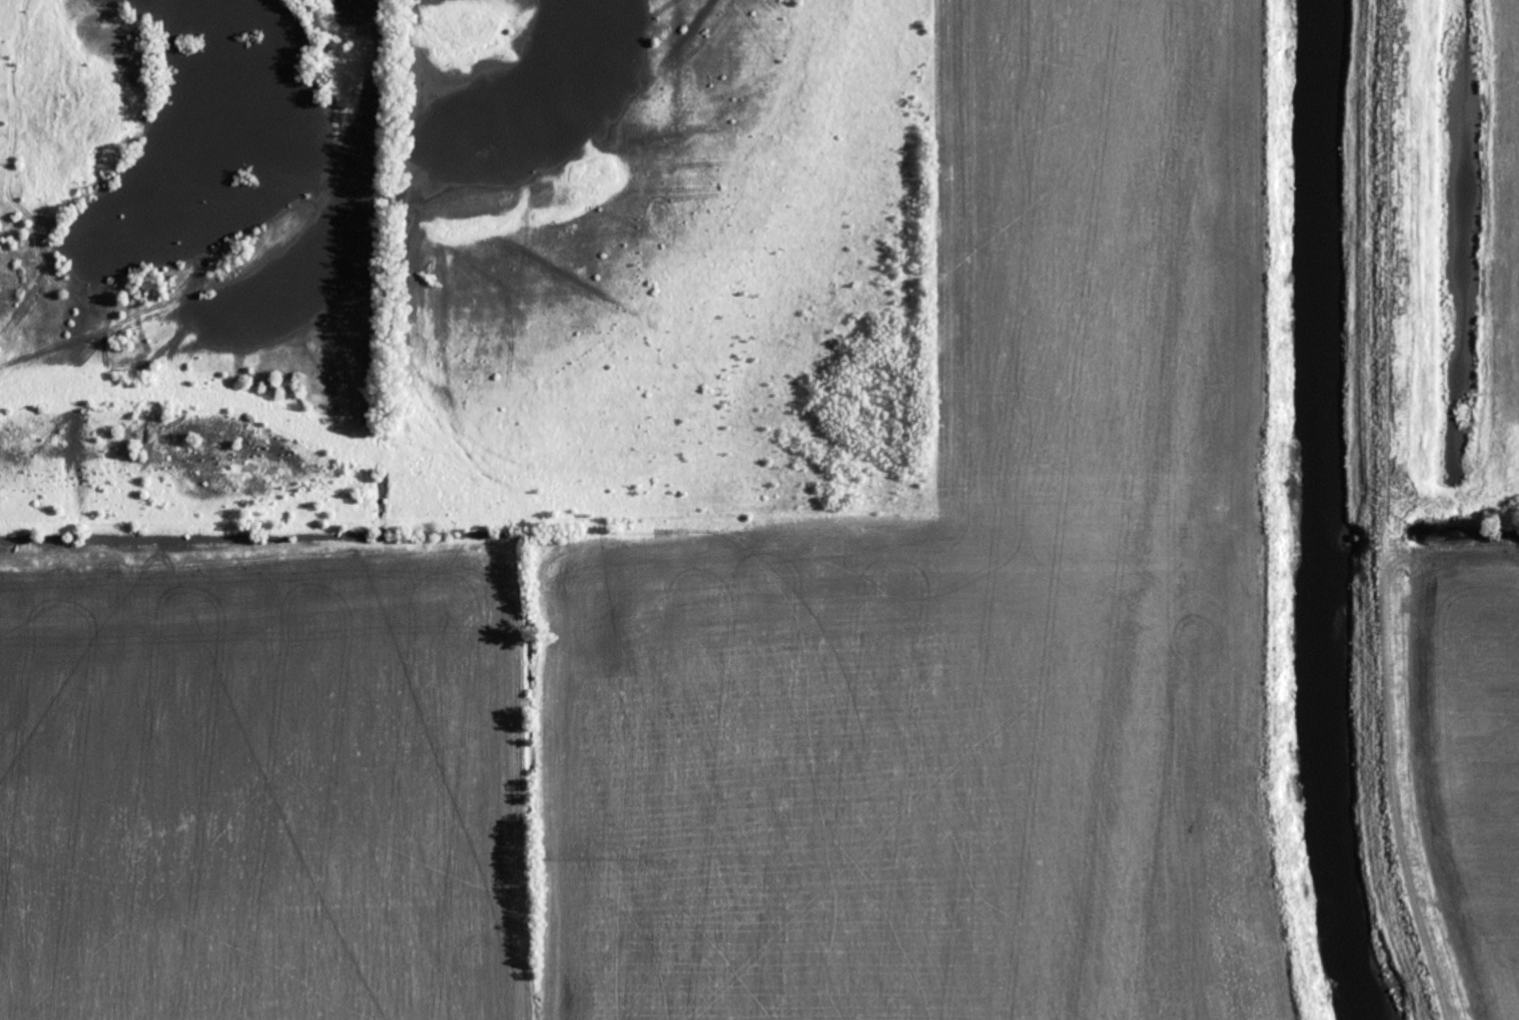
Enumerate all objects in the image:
road: (1264, 512)
river: (1312, 514)

